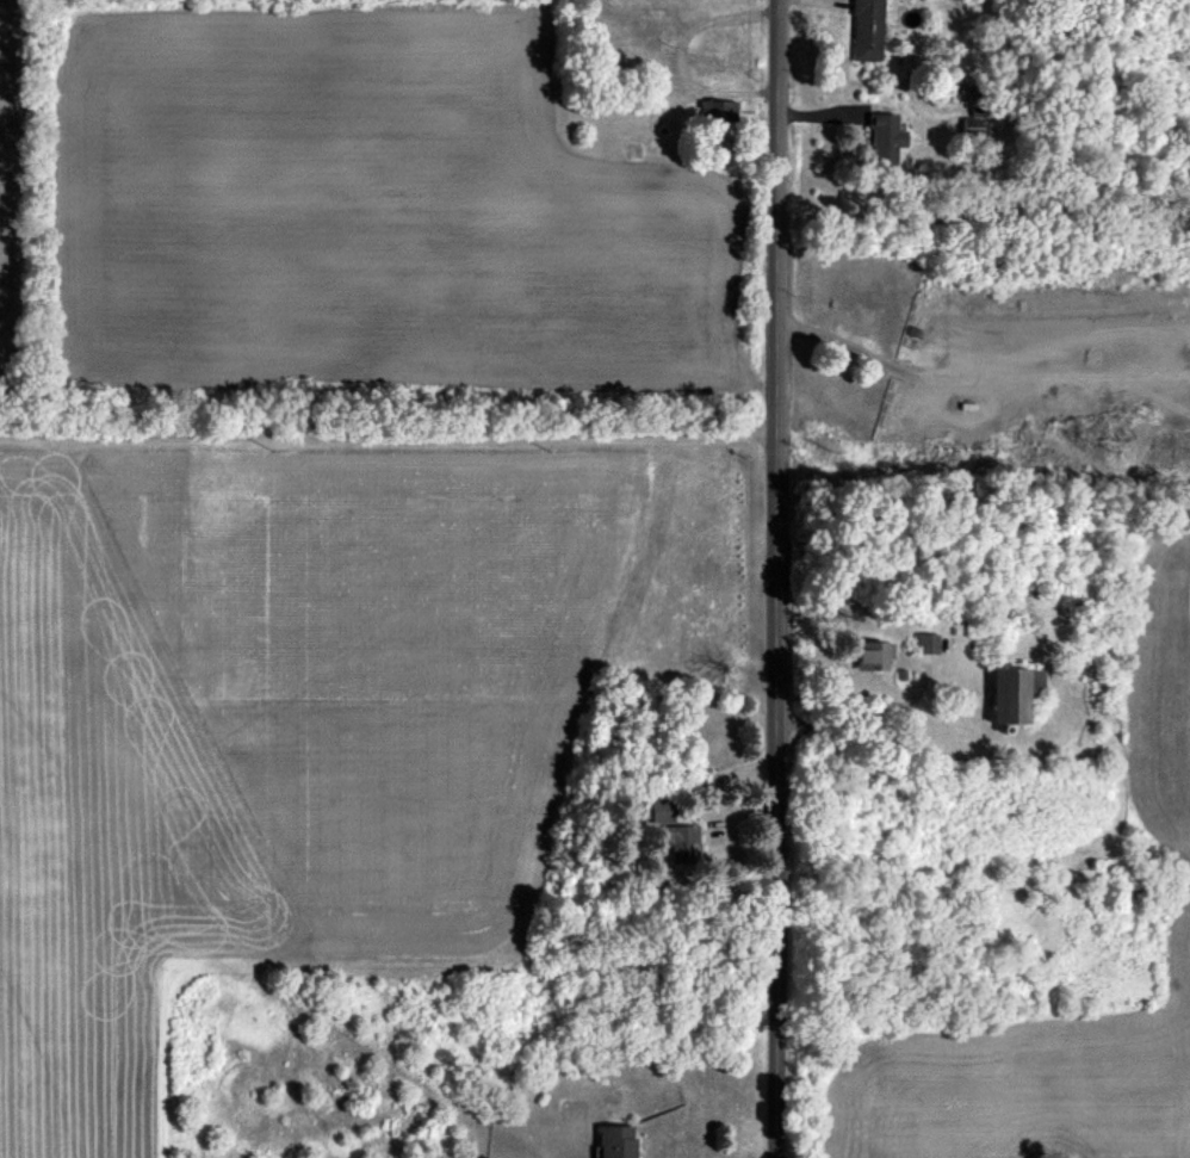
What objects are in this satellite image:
road: (800, 1)
building: (868, 31)
road: (678, 56)
road: (1097, 70)
building: (719, 112)
building: (973, 129)
building: (887, 141)
road: (777, 578)
building: (928, 645)
building: (873, 659)
building: (1011, 698)
road: (868, 720)
building: (683, 843)
building: (619, 1141)

